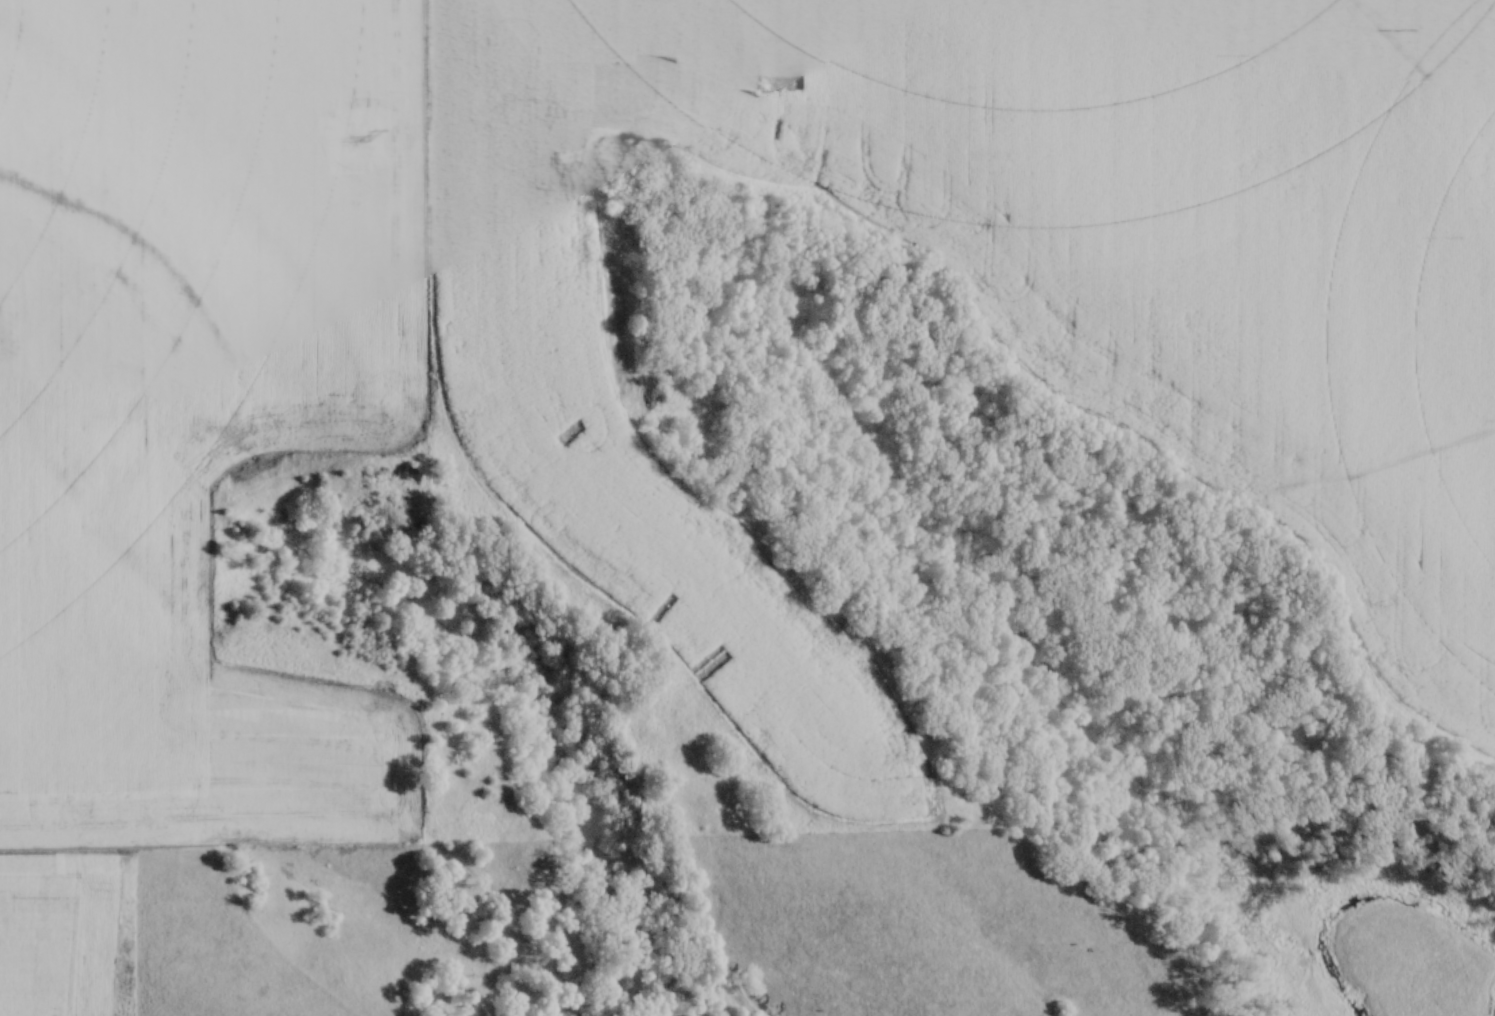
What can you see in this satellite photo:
power tower: (360, 138)
power tower: (361, 687)
river: (1361, 903)
river: (1492, 1007)

